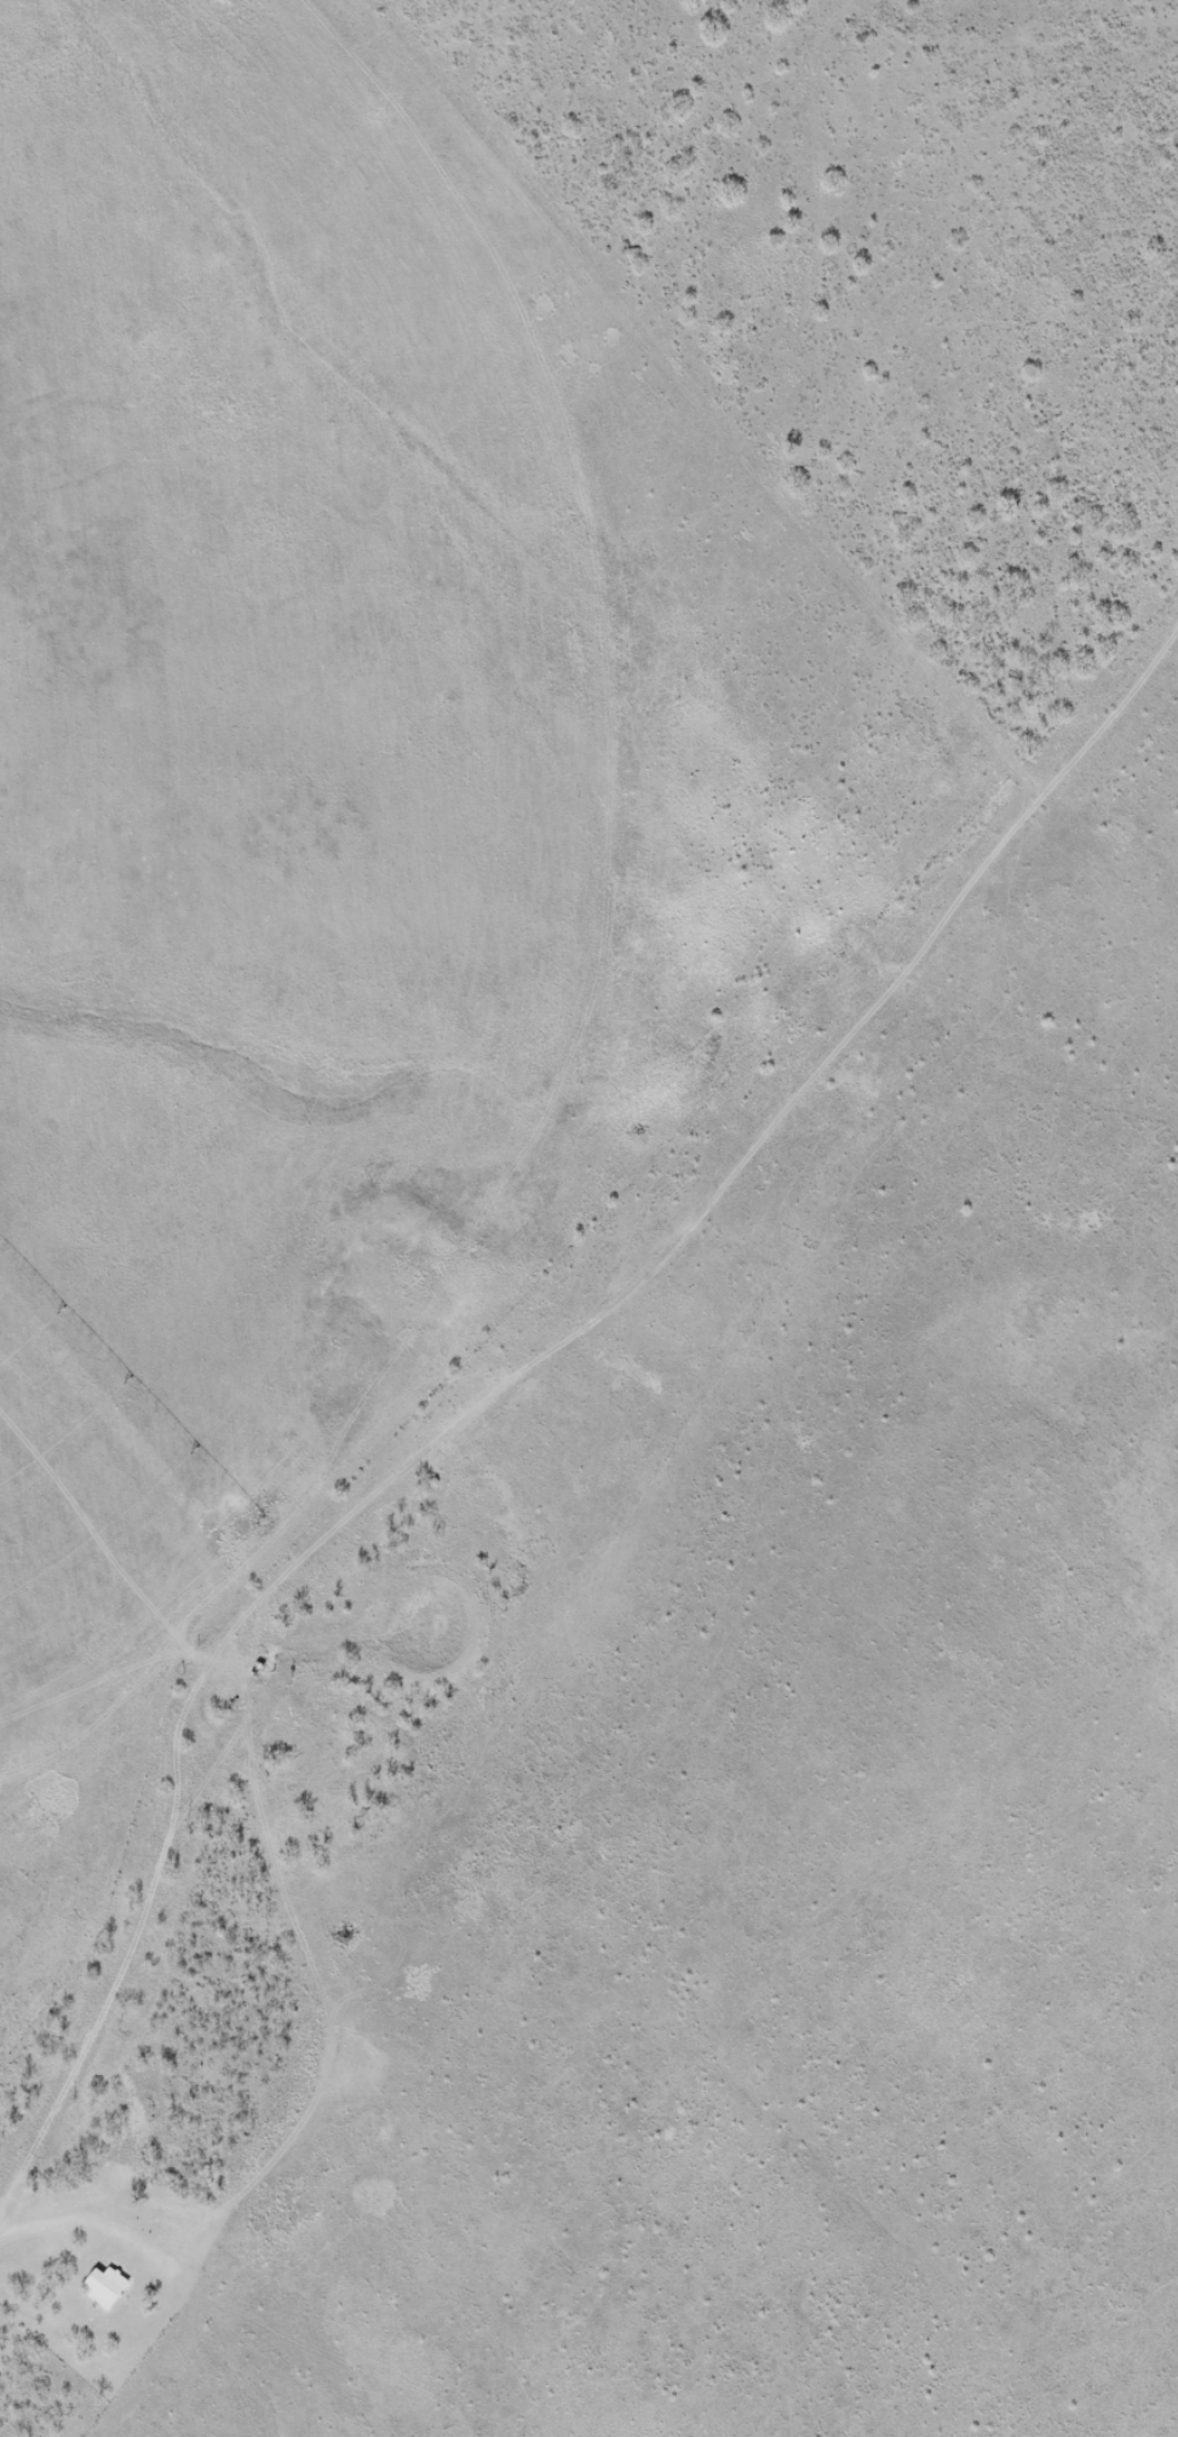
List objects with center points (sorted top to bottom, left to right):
road: (1046, 1432)
road: (282, 1830)
road: (203, 1844)
building: (107, 2291)

